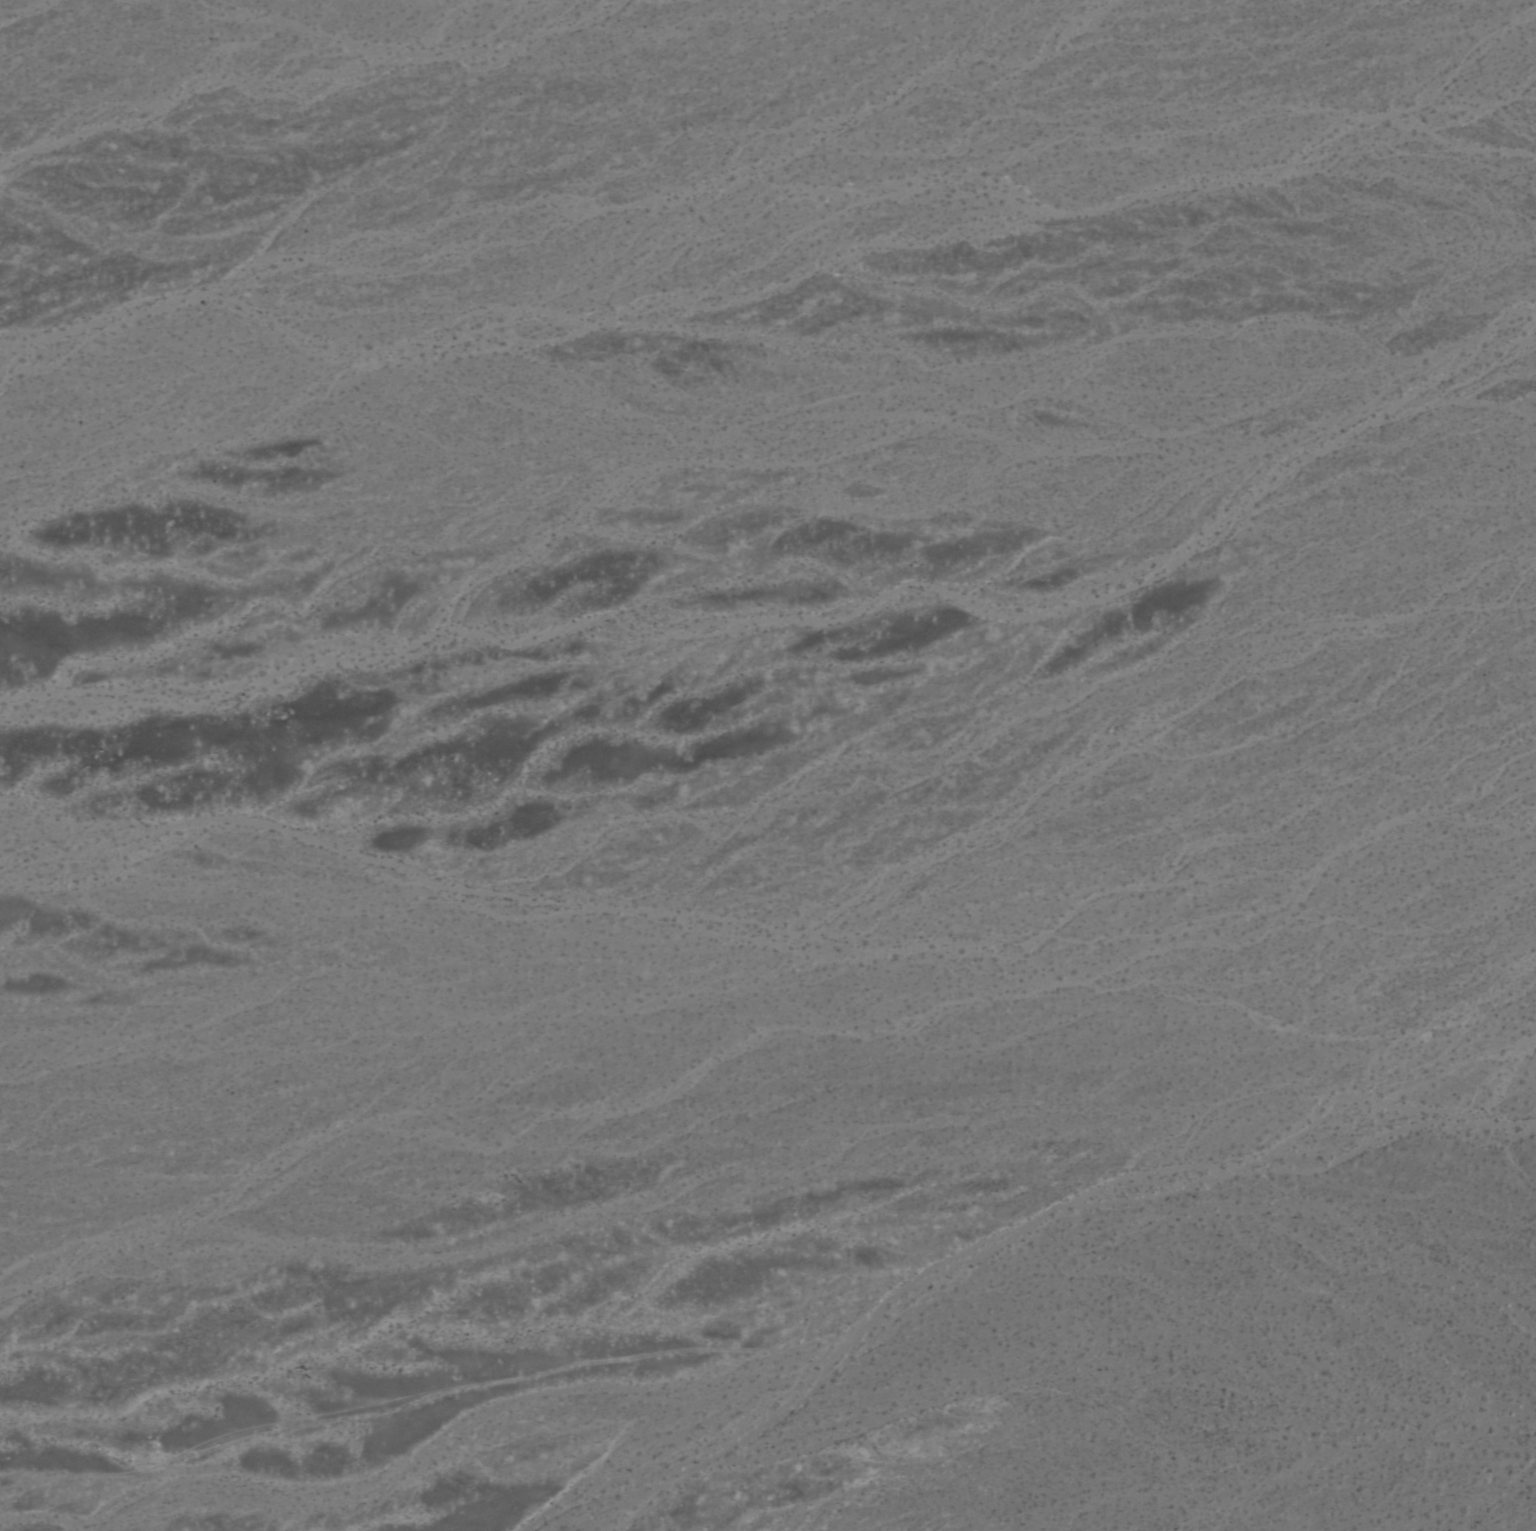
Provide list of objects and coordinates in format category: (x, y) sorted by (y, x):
road: (797, 1353)

